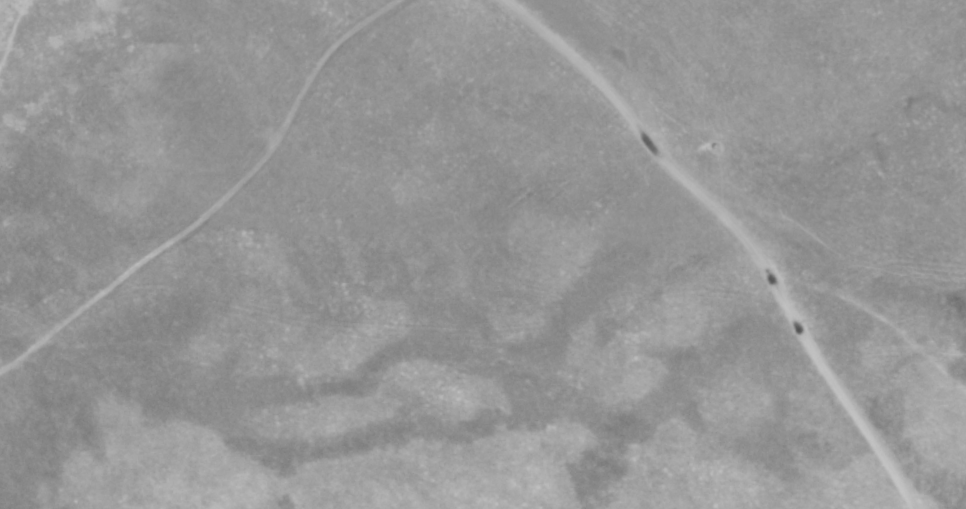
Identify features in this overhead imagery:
road: (716, 224)

